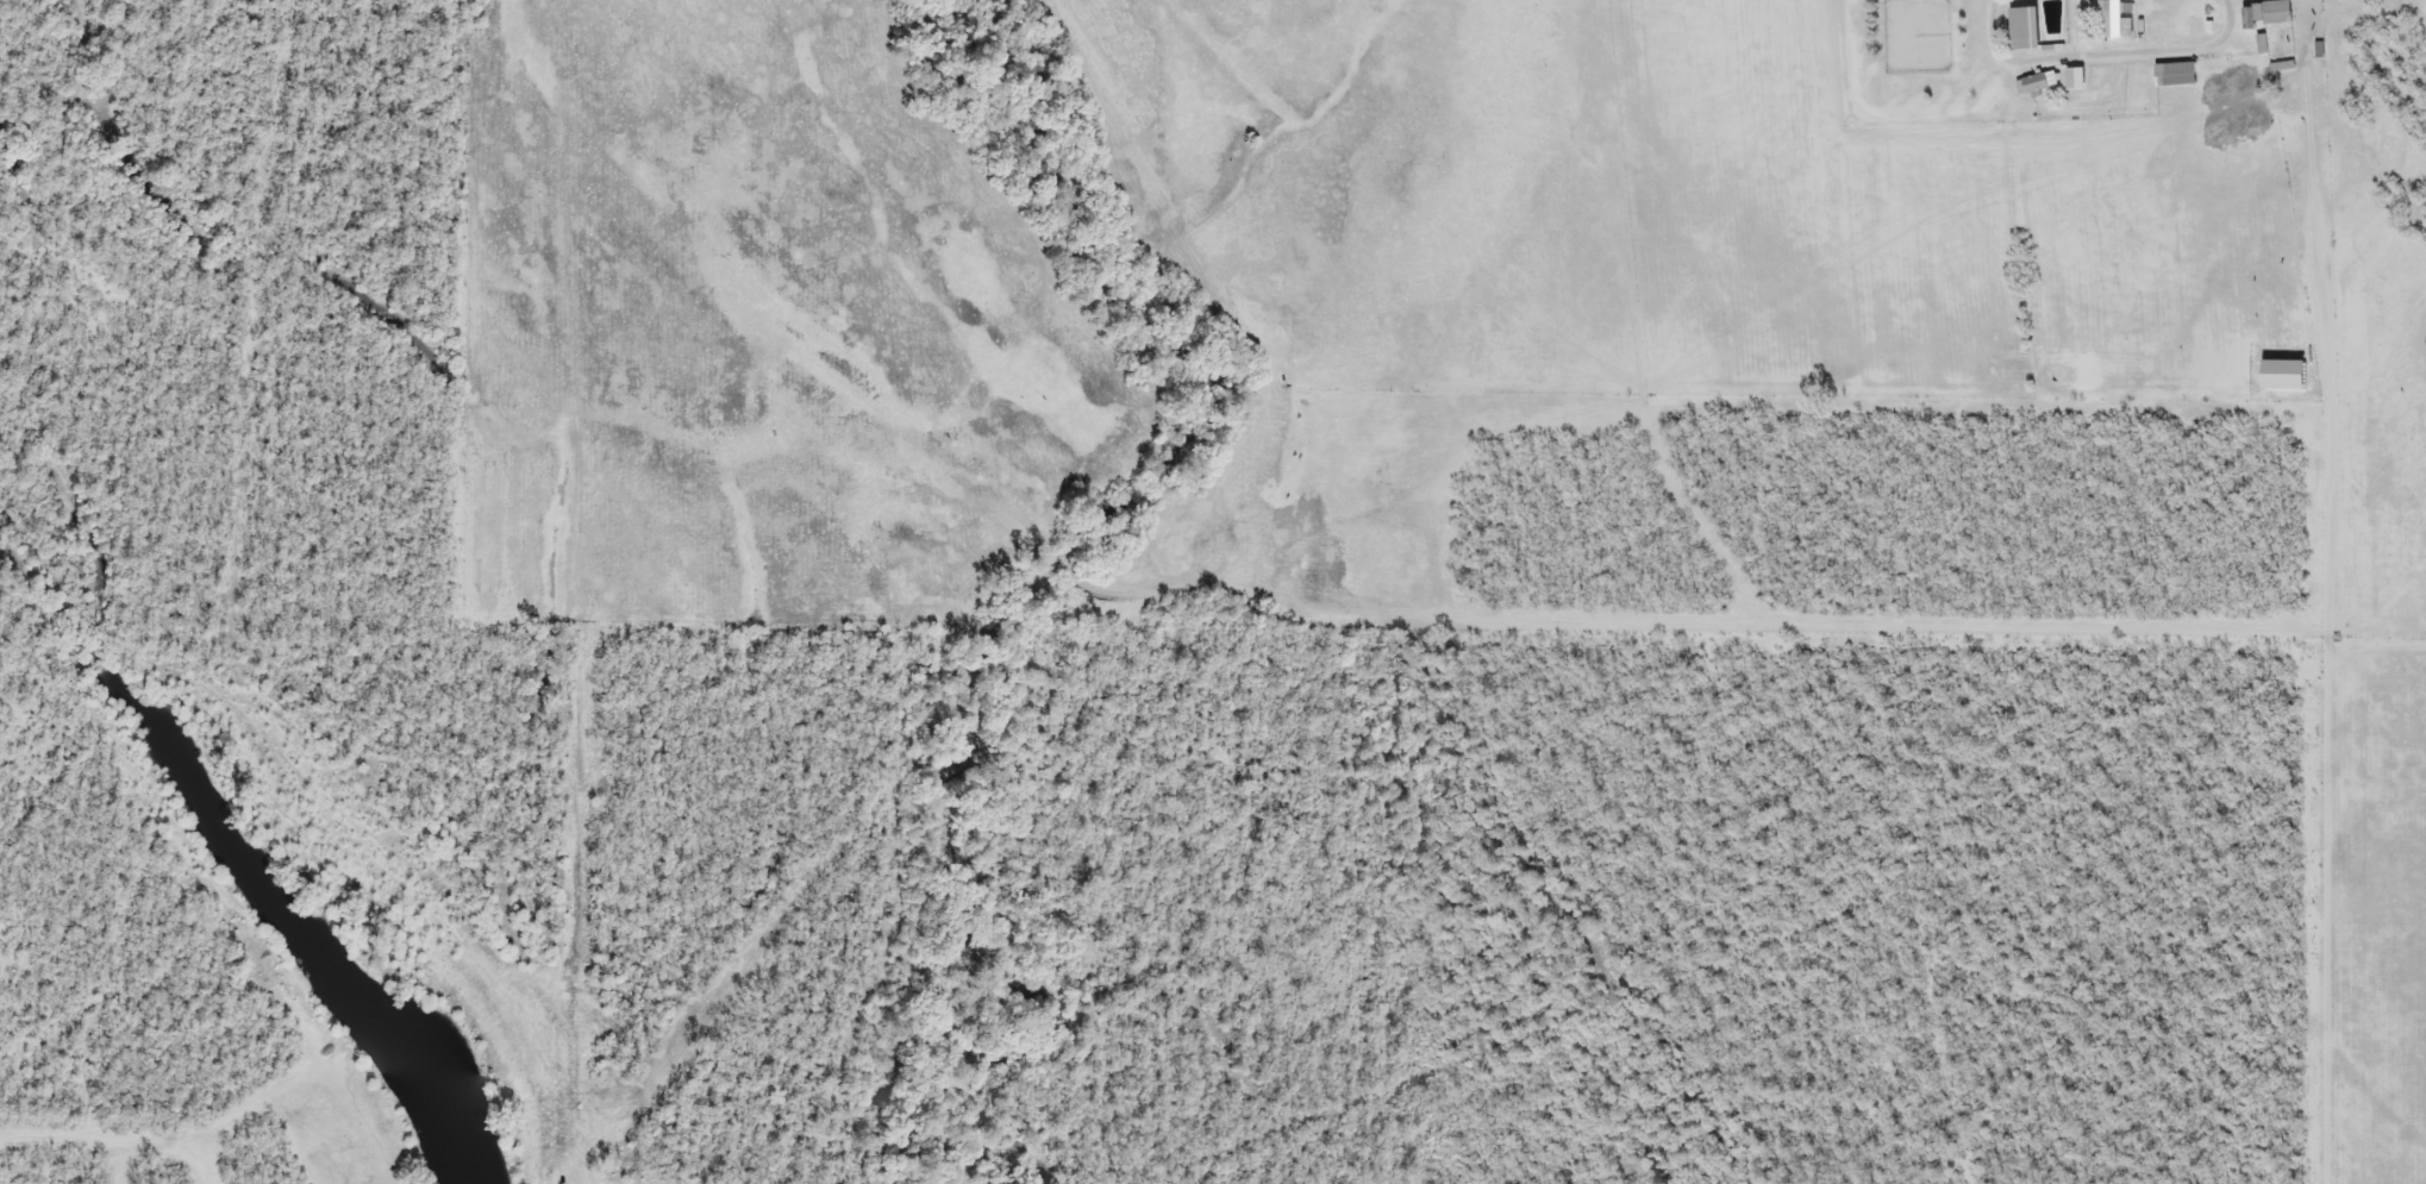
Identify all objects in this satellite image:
building: (2268, 14)
building: (2114, 20)
road: (2000, 75)
building: (2175, 76)
building: (2088, 79)
building: (2038, 86)
building: (2290, 389)

